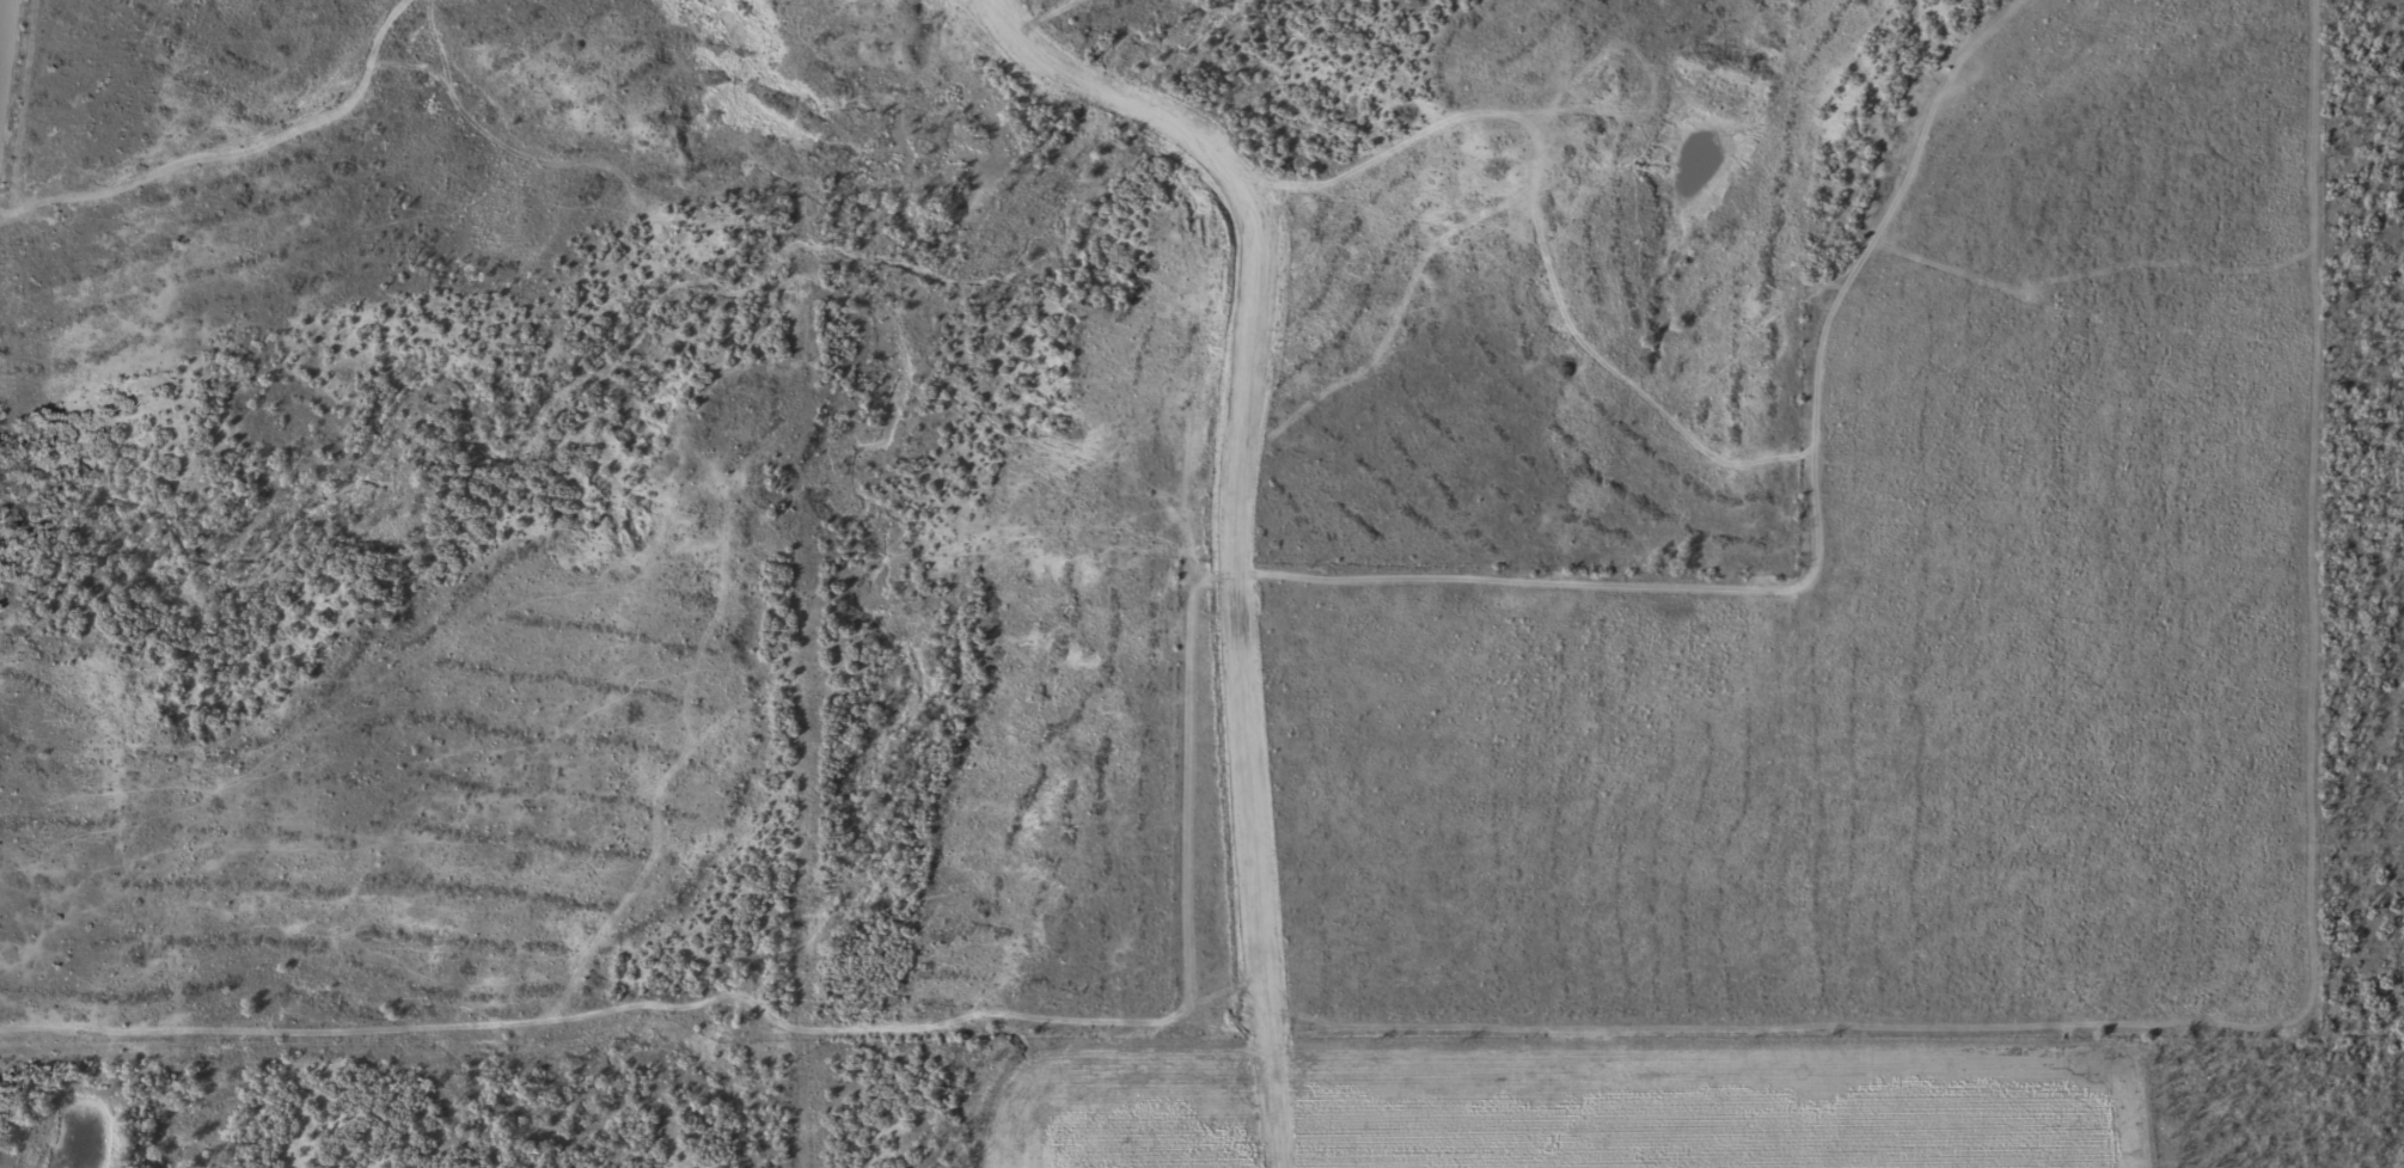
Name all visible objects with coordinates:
road: (241, 135)
road: (1169, 196)

